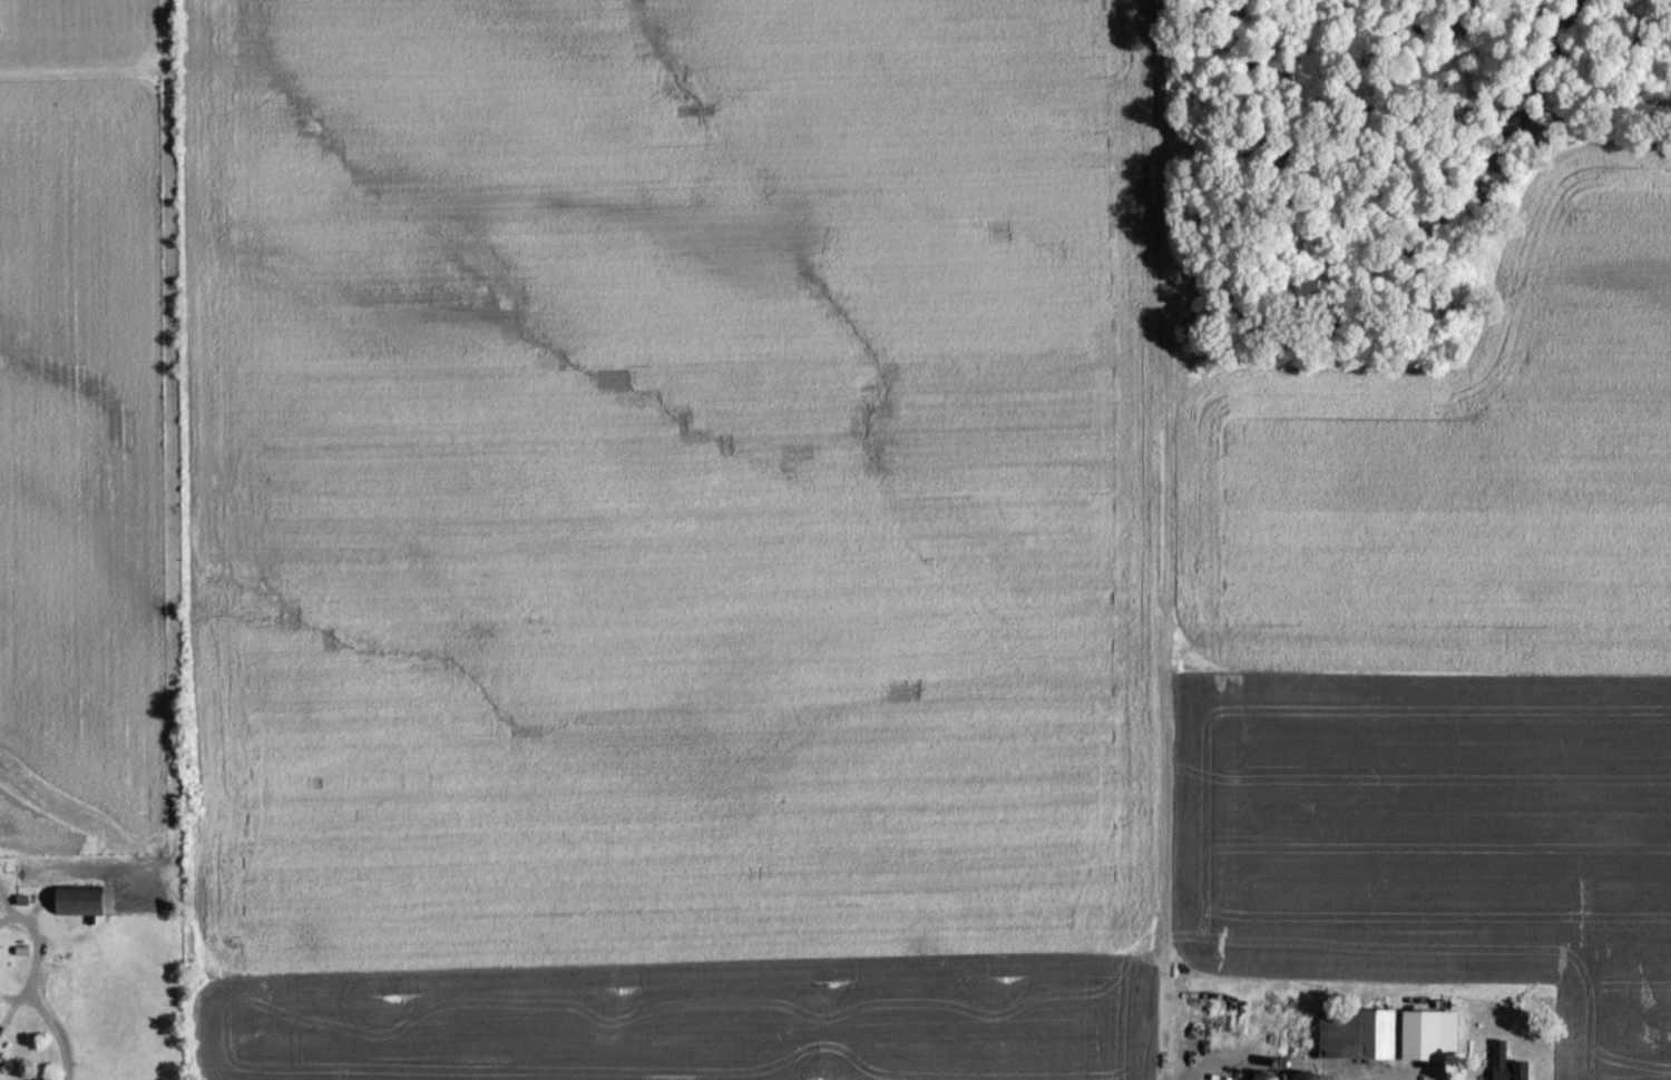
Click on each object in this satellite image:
building: (76, 901)
building: (1362, 1030)
building: (1505, 1063)
building: (1300, 1074)

